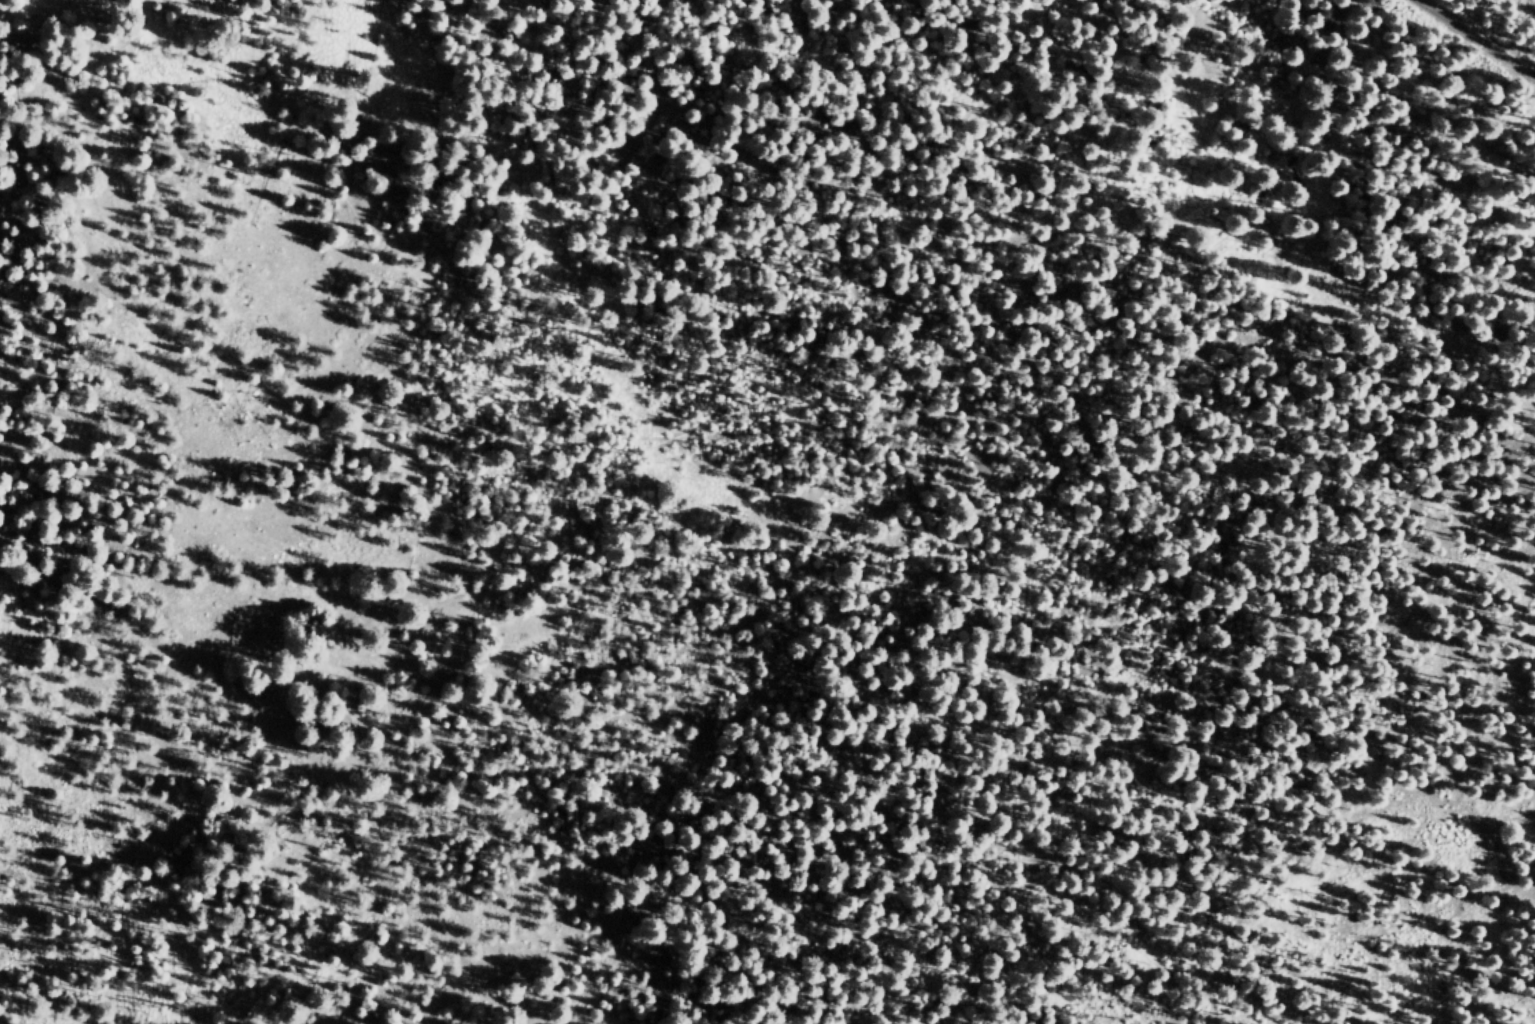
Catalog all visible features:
road: (1503, 19)

